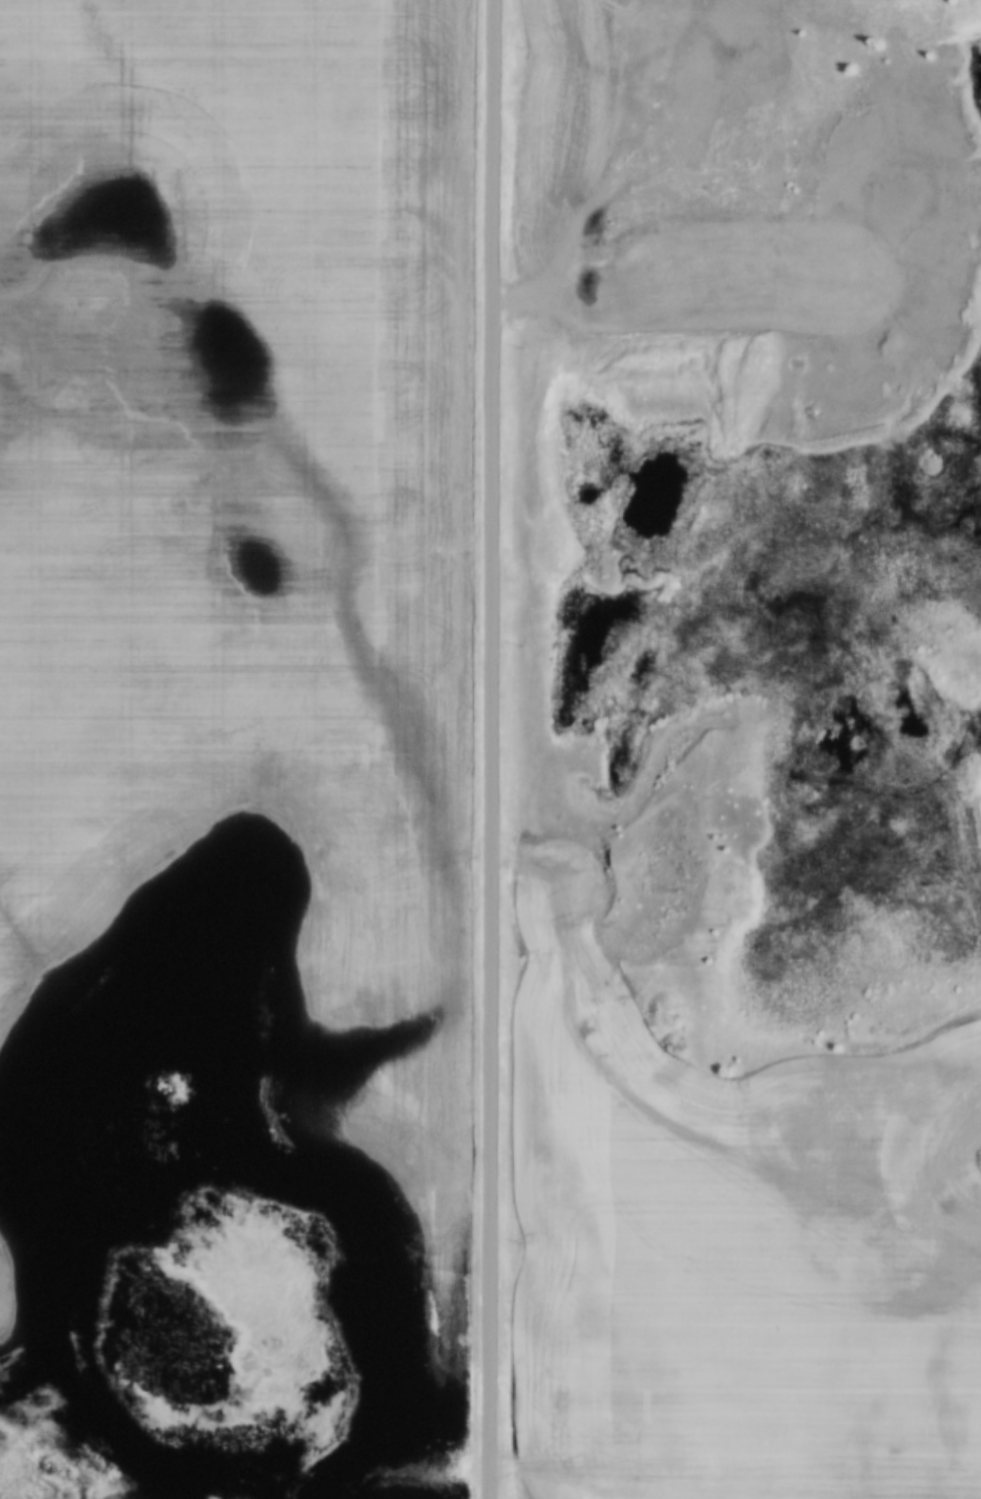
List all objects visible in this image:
quarry: (783, 195)
road: (489, 749)
road: (652, 1117)

